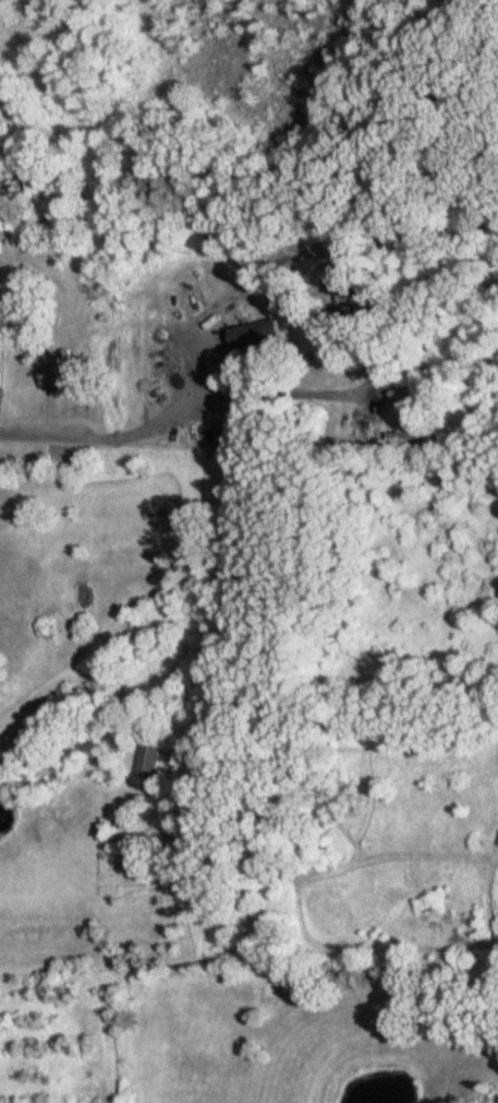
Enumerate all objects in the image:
building: (15, 185)
building: (350, 278)
building: (257, 333)
building: (0, 362)
road: (110, 436)
building: (148, 758)

